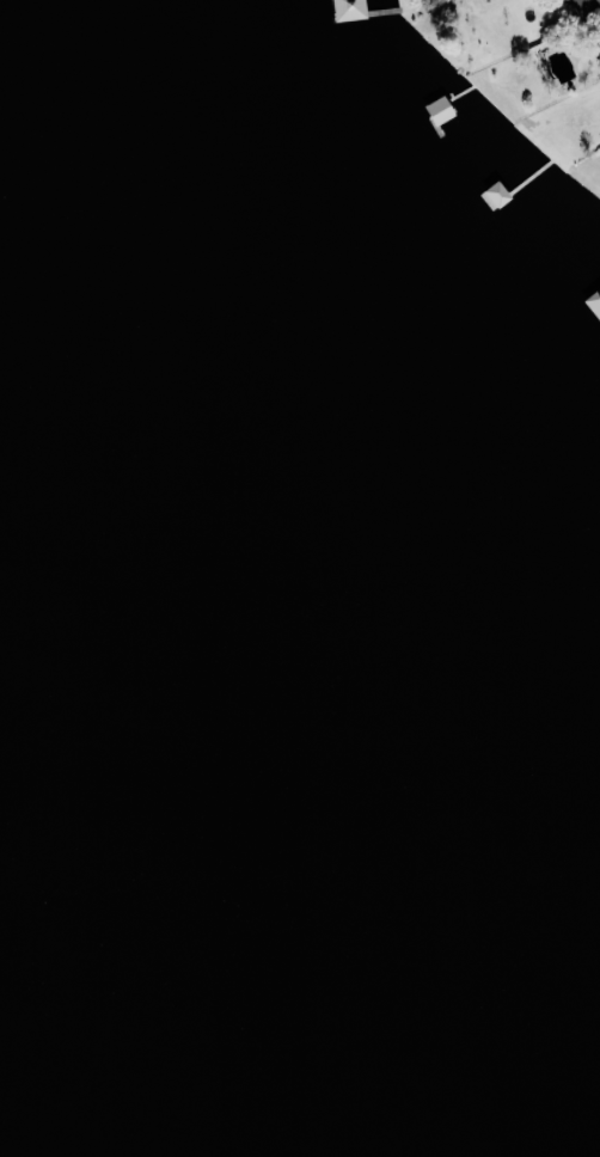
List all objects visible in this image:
building: (586, 4)
building: (348, 8)
building: (599, 49)
building: (594, 302)

